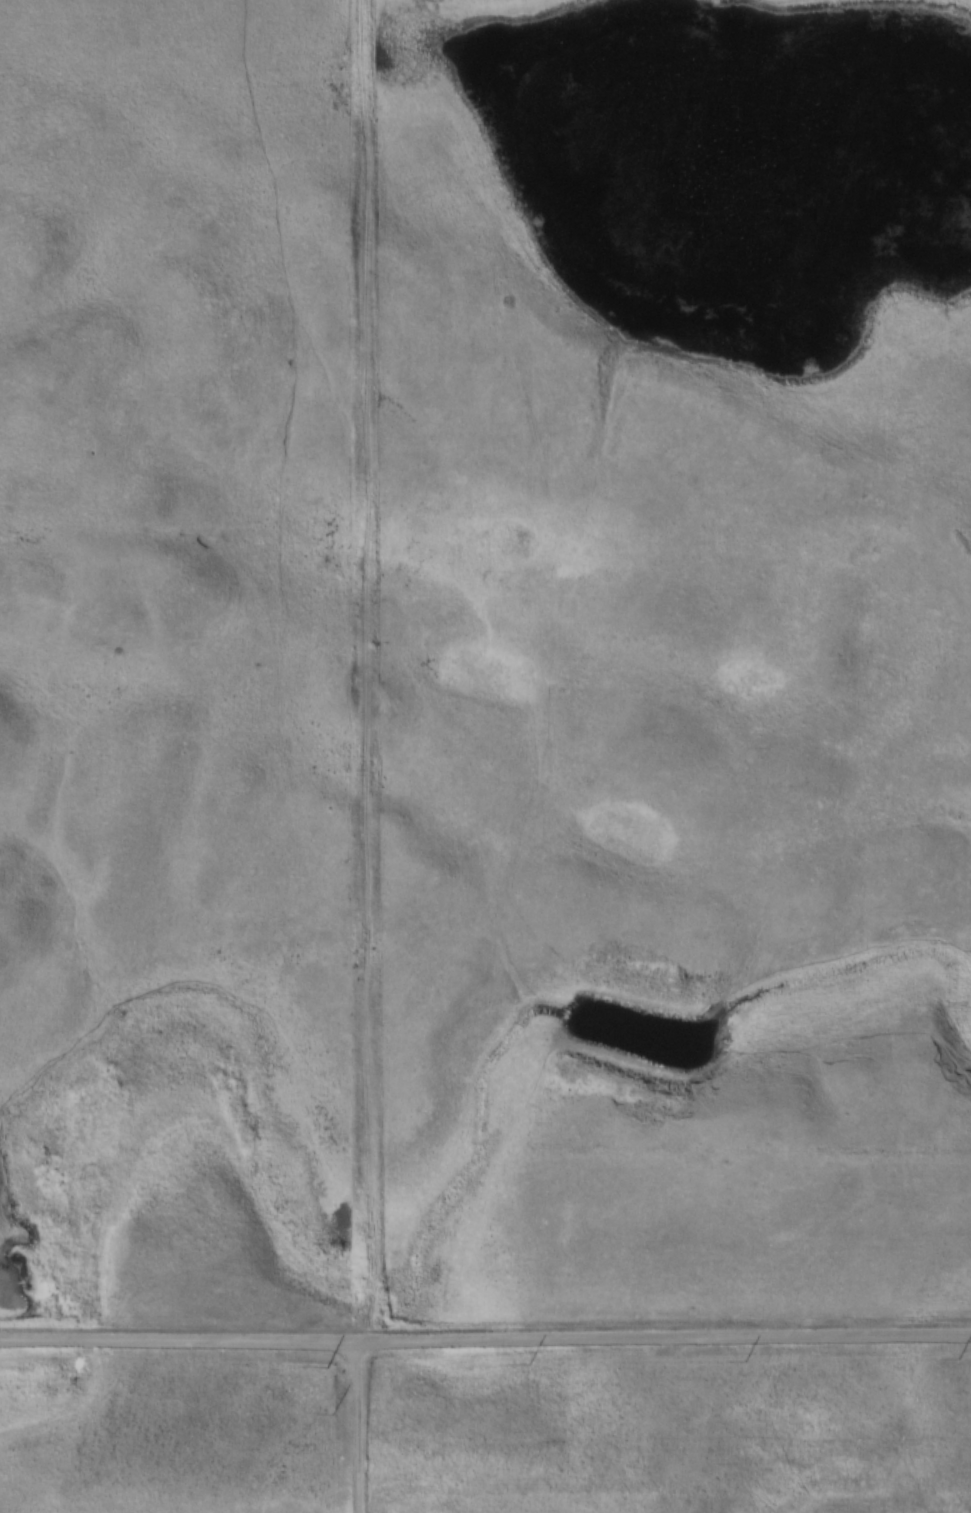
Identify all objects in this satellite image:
road: (374, 673)
road: (740, 1342)
road: (190, 1344)
road: (445, 1345)
road: (361, 1429)

